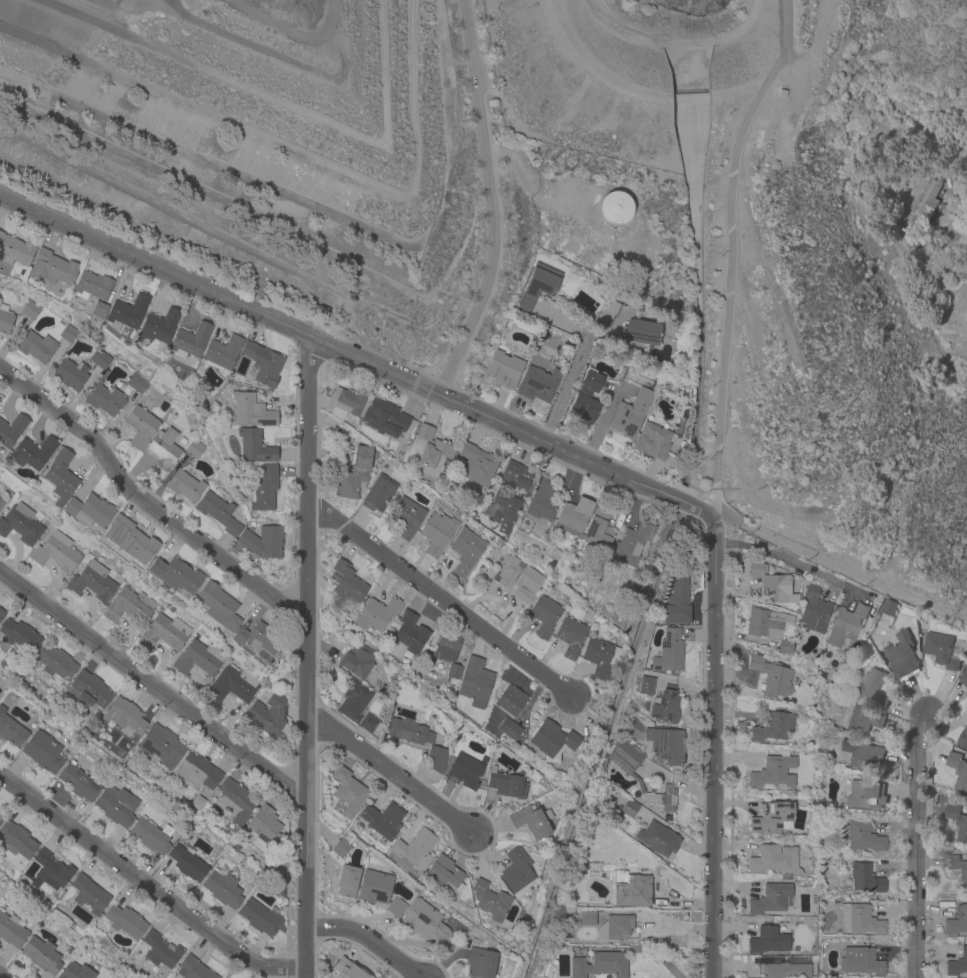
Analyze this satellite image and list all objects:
road: (677, 43)
road: (594, 68)
road: (798, 70)
dam: (600, 88)
building: (773, 89)
road: (736, 90)
road: (524, 184)
building: (929, 200)
road: (489, 201)
building: (615, 208)
storage tank: (615, 208)
building: (15, 250)
building: (52, 268)
road: (729, 277)
building: (91, 286)
building: (537, 286)
building: (30, 310)
building: (99, 310)
building: (127, 312)
building: (609, 312)
building: (5, 320)
building: (158, 326)
building: (641, 332)
building: (68, 333)
building: (189, 341)
building: (35, 347)
building: (220, 354)
building: (99, 359)
road: (351, 359)
building: (262, 363)
building: (504, 369)
road: (574, 370)
building: (70, 375)
building: (103, 375)
building: (189, 376)
building: (136, 384)
building: (536, 386)
building: (165, 395)
building: (586, 397)
building: (105, 400)
building: (347, 406)
building: (251, 411)
building: (630, 413)
building: (384, 418)
building: (140, 424)
building: (11, 431)
building: (652, 441)
building: (194, 447)
building: (254, 447)
building: (163, 450)
building: (30, 453)
building: (431, 453)
building: (477, 465)
building: (355, 473)
building: (517, 475)
building: (60, 477)
building: (184, 486)
building: (264, 490)
building: (379, 494)
building: (10, 496)
building: (1, 503)
building: (540, 503)
road: (146, 504)
building: (88, 511)
building: (218, 513)
building: (504, 513)
building: (573, 517)
building: (407, 519)
building: (20, 525)
building: (598, 528)
building: (437, 534)
building: (132, 539)
building: (263, 542)
building: (630, 544)
building: (574, 545)
building: (464, 551)
building: (55, 552)
road: (777, 557)
road: (836, 564)
building: (509, 571)
building: (175, 575)
building: (92, 583)
building: (346, 583)
building: (772, 584)
building: (524, 593)
road: (443, 599)
building: (677, 601)
road: (501, 603)
building: (129, 607)
building: (218, 607)
building: (890, 608)
building: (814, 609)
building: (1, 614)
building: (376, 614)
building: (544, 616)
building: (848, 622)
building: (770, 628)
building: (163, 633)
building: (19, 636)
building: (410, 637)
building: (570, 637)
building: (258, 639)
building: (447, 645)
building: (941, 651)
building: (669, 652)
building: (902, 656)
building: (600, 658)
building: (199, 659)
road: (309, 660)
building: (357, 661)
building: (54, 662)
building: (453, 671)
building: (773, 677)
building: (963, 678)
road: (155, 682)
building: (452, 682)
building: (474, 683)
building: (232, 685)
building: (646, 686)
building: (873, 688)
building: (89, 691)
building: (510, 700)
building: (354, 701)
building: (665, 706)
building: (267, 715)
building: (124, 717)
building: (433, 717)
building: (861, 719)
building: (368, 724)
building: (771, 728)
building: (11, 730)
building: (512, 731)
building: (409, 732)
building: (963, 738)
building: (552, 742)
road: (712, 744)
building: (161, 746)
building: (662, 747)
building: (42, 752)
building: (862, 755)
building: (625, 759)
building: (437, 760)
building: (483, 760)
building: (464, 770)
building: (958, 770)
building: (773, 771)
building: (196, 772)
road: (391, 775)
building: (534, 776)
building: (79, 782)
building: (506, 784)
building: (348, 791)
building: (864, 794)
building: (661, 800)
building: (234, 801)
building: (195, 805)
building: (117, 807)
building: (629, 809)
building: (0, 815)
building: (0, 817)
building: (958, 817)
building: (772, 818)
building: (532, 820)
building: (383, 821)
building: (264, 825)
building: (151, 836)
building: (862, 837)
building: (657, 839)
building: (16, 841)
building: (340, 848)
road: (919, 848)
building: (413, 849)
building: (774, 860)
building: (187, 863)
building: (957, 868)
building: (50, 871)
building: (517, 871)
building: (445, 874)
building: (785, 877)
building: (865, 880)
building: (347, 881)
building: (375, 887)
road: (149, 889)
building: (222, 890)
building: (276, 890)
building: (632, 892)
building: (88, 894)
building: (770, 899)
building: (489, 901)
building: (395, 908)
building: (259, 918)
building: (582, 918)
building: (124, 921)
building: (859, 921)
building: (957, 921)
building: (425, 922)
building: (616, 929)
building: (11, 931)
building: (586, 935)
building: (767, 941)
road: (368, 942)
building: (160, 950)
road: (659, 955)
building: (42, 956)
building: (860, 962)
building: (480, 963)
building: (957, 964)
building: (599, 966)
building: (192, 969)
building: (346, 970)
building: (788, 970)
building: (76, 972)
road: (0, 977)

